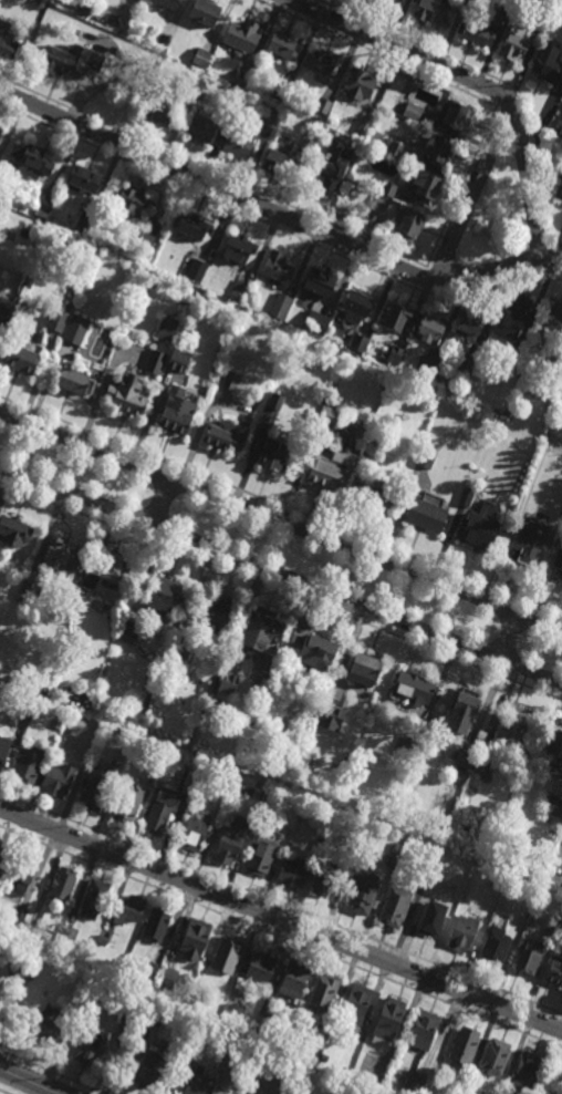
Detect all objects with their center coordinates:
building: (467, 0)
road: (295, 1)
building: (373, 1)
building: (386, 1)
building: (167, 3)
building: (508, 6)
building: (84, 7)
building: (431, 11)
building: (204, 12)
building: (540, 21)
building: (3, 31)
building: (478, 32)
building: (150, 33)
building: (242, 35)
building: (513, 43)
building: (282, 45)
building: (200, 56)
building: (70, 60)
building: (321, 62)
building: (547, 63)
building: (241, 78)
building: (194, 79)
building: (360, 83)
road: (476, 85)
building: (280, 94)
building: (321, 109)
building: (158, 111)
building: (413, 111)
building: (270, 116)
building: (455, 117)
building: (556, 125)
building: (313, 126)
building: (363, 126)
building: (200, 128)
building: (0, 132)
building: (237, 144)
building: (393, 147)
building: (433, 147)
building: (32, 159)
building: (281, 162)
building: (334, 165)
building: (82, 179)
building: (426, 187)
building: (387, 188)
road: (471, 192)
building: (559, 192)
building: (131, 200)
building: (379, 204)
building: (44, 206)
road: (271, 210)
building: (84, 220)
building: (407, 225)
building: (191, 226)
building: (7, 231)
building: (486, 233)
building: (146, 240)
building: (69, 246)
building: (238, 248)
road: (556, 262)
building: (277, 267)
building: (196, 271)
building: (29, 281)
building: (320, 283)
building: (239, 291)
building: (279, 306)
building: (6, 307)
building: (356, 307)
building: (513, 317)
building: (398, 318)
building: (551, 322)
building: (316, 323)
building: (468, 323)
building: (54, 327)
building: (76, 329)
building: (167, 329)
building: (429, 329)
building: (360, 342)
building: (319, 347)
building: (395, 355)
building: (22, 357)
building: (511, 360)
building: (155, 362)
building: (177, 362)
building: (550, 362)
building: (467, 363)
building: (427, 367)
building: (73, 380)
building: (231, 381)
building: (127, 396)
building: (275, 401)
building: (176, 411)
building: (329, 415)
building: (223, 435)
building: (275, 453)
building: (426, 457)
building: (554, 461)
building: (363, 462)
building: (331, 467)
building: (466, 496)
building: (376, 497)
road: (159, 502)
road: (280, 507)
building: (426, 514)
road: (281, 523)
building: (15, 529)
building: (477, 531)
building: (525, 546)
building: (60, 555)
building: (559, 557)
building: (560, 572)
building: (108, 574)
road: (280, 575)
building: (30, 586)
road: (281, 591)
building: (163, 596)
building: (216, 613)
building: (260, 629)
building: (129, 630)
road: (508, 638)
building: (180, 649)
building: (314, 650)
building: (149, 656)
building: (364, 668)
building: (159, 669)
building: (225, 682)
building: (0, 685)
building: (414, 688)
building: (82, 693)
building: (329, 708)
building: (464, 710)
building: (24, 711)
building: (56, 724)
building: (513, 725)
building: (252, 726)
building: (124, 732)
building: (555, 744)
building: (407, 745)
building: (3, 749)
building: (465, 758)
building: (29, 764)
building: (480, 764)
building: (459, 772)
building: (59, 780)
building: (150, 780)
building: (187, 782)
building: (95, 787)
building: (279, 794)
building: (261, 796)
building: (128, 804)
building: (554, 806)
building: (162, 811)
building: (190, 812)
building: (194, 834)
building: (229, 844)
building: (320, 845)
building: (357, 848)
building: (261, 854)
building: (3, 856)
building: (391, 860)
building: (424, 869)
building: (293, 873)
building: (22, 876)
building: (63, 883)
building: (323, 883)
building: (364, 894)
building: (93, 898)
building: (490, 900)
road: (281, 905)
building: (394, 907)
building: (128, 910)
building: (20, 914)
building: (433, 917)
road: (281, 918)
building: (156, 926)
building: (554, 927)
building: (462, 933)
building: (66, 936)
road: (281, 937)
building: (194, 939)
building: (102, 940)
building: (495, 947)
building: (227, 953)
building: (530, 956)
building: (17, 967)
building: (261, 967)
building: (150, 971)
building: (555, 971)
building: (167, 979)
building: (294, 980)
building: (323, 993)
building: (195, 1000)
building: (235, 1000)
building: (358, 1004)
building: (267, 1008)
building: (128, 1014)
building: (154, 1016)
building: (388, 1022)
building: (48, 1026)
building: (424, 1031)
building: (257, 1033)
building: (322, 1033)
building: (236, 1046)
building: (91, 1047)
building: (464, 1047)
building: (495, 1057)
building: (149, 1069)
road: (50, 1072)
building: (527, 1072)
parking lot: (272, 1076)
road: (267, 1080)
building: (416, 1081)
road: (27, 1082)
building: (429, 1084)
building: (198, 1085)
road: (2, 1092)
road: (300, 1092)
building: (462, 1092)

